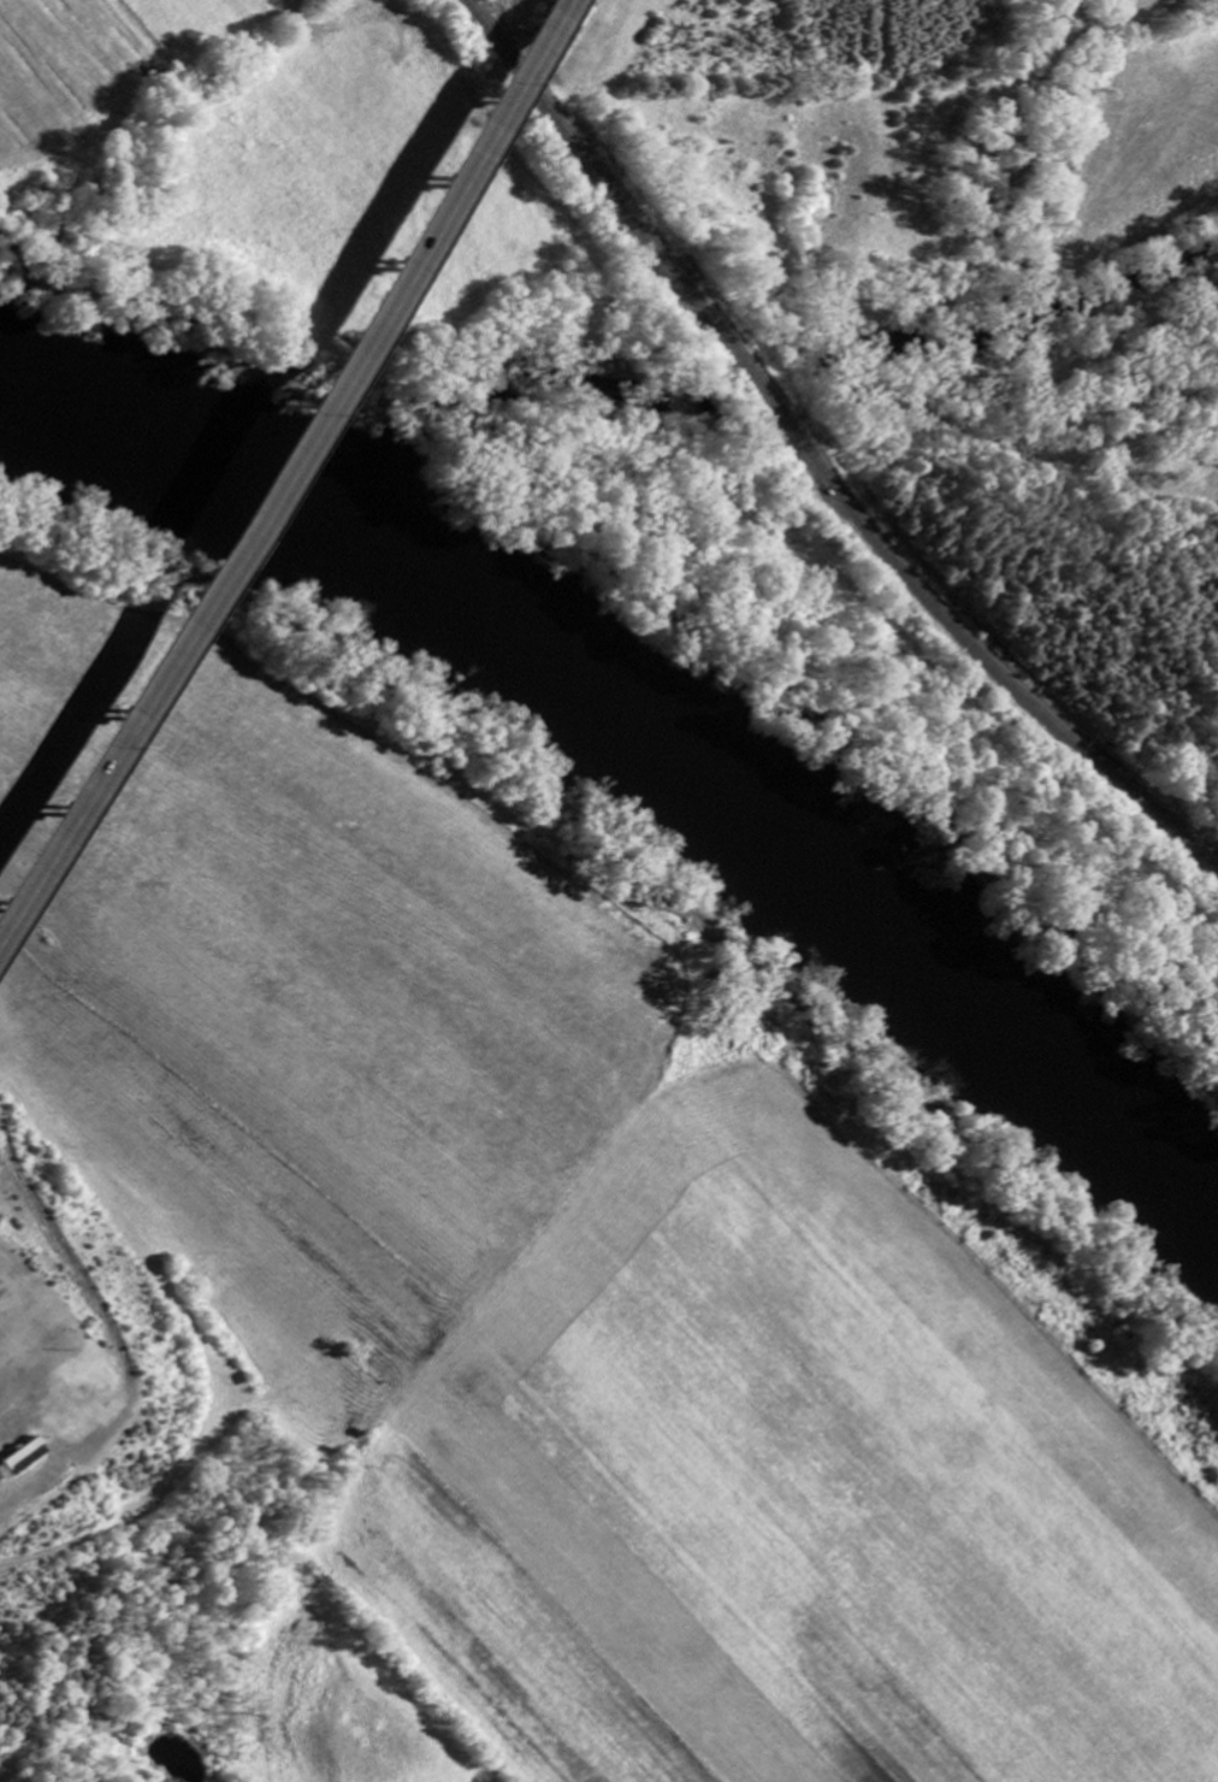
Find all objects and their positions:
road: (561, 7)
railway: (811, 459)
road: (278, 471)
road: (1173, 645)
river: (652, 713)
building: (20, 1459)

